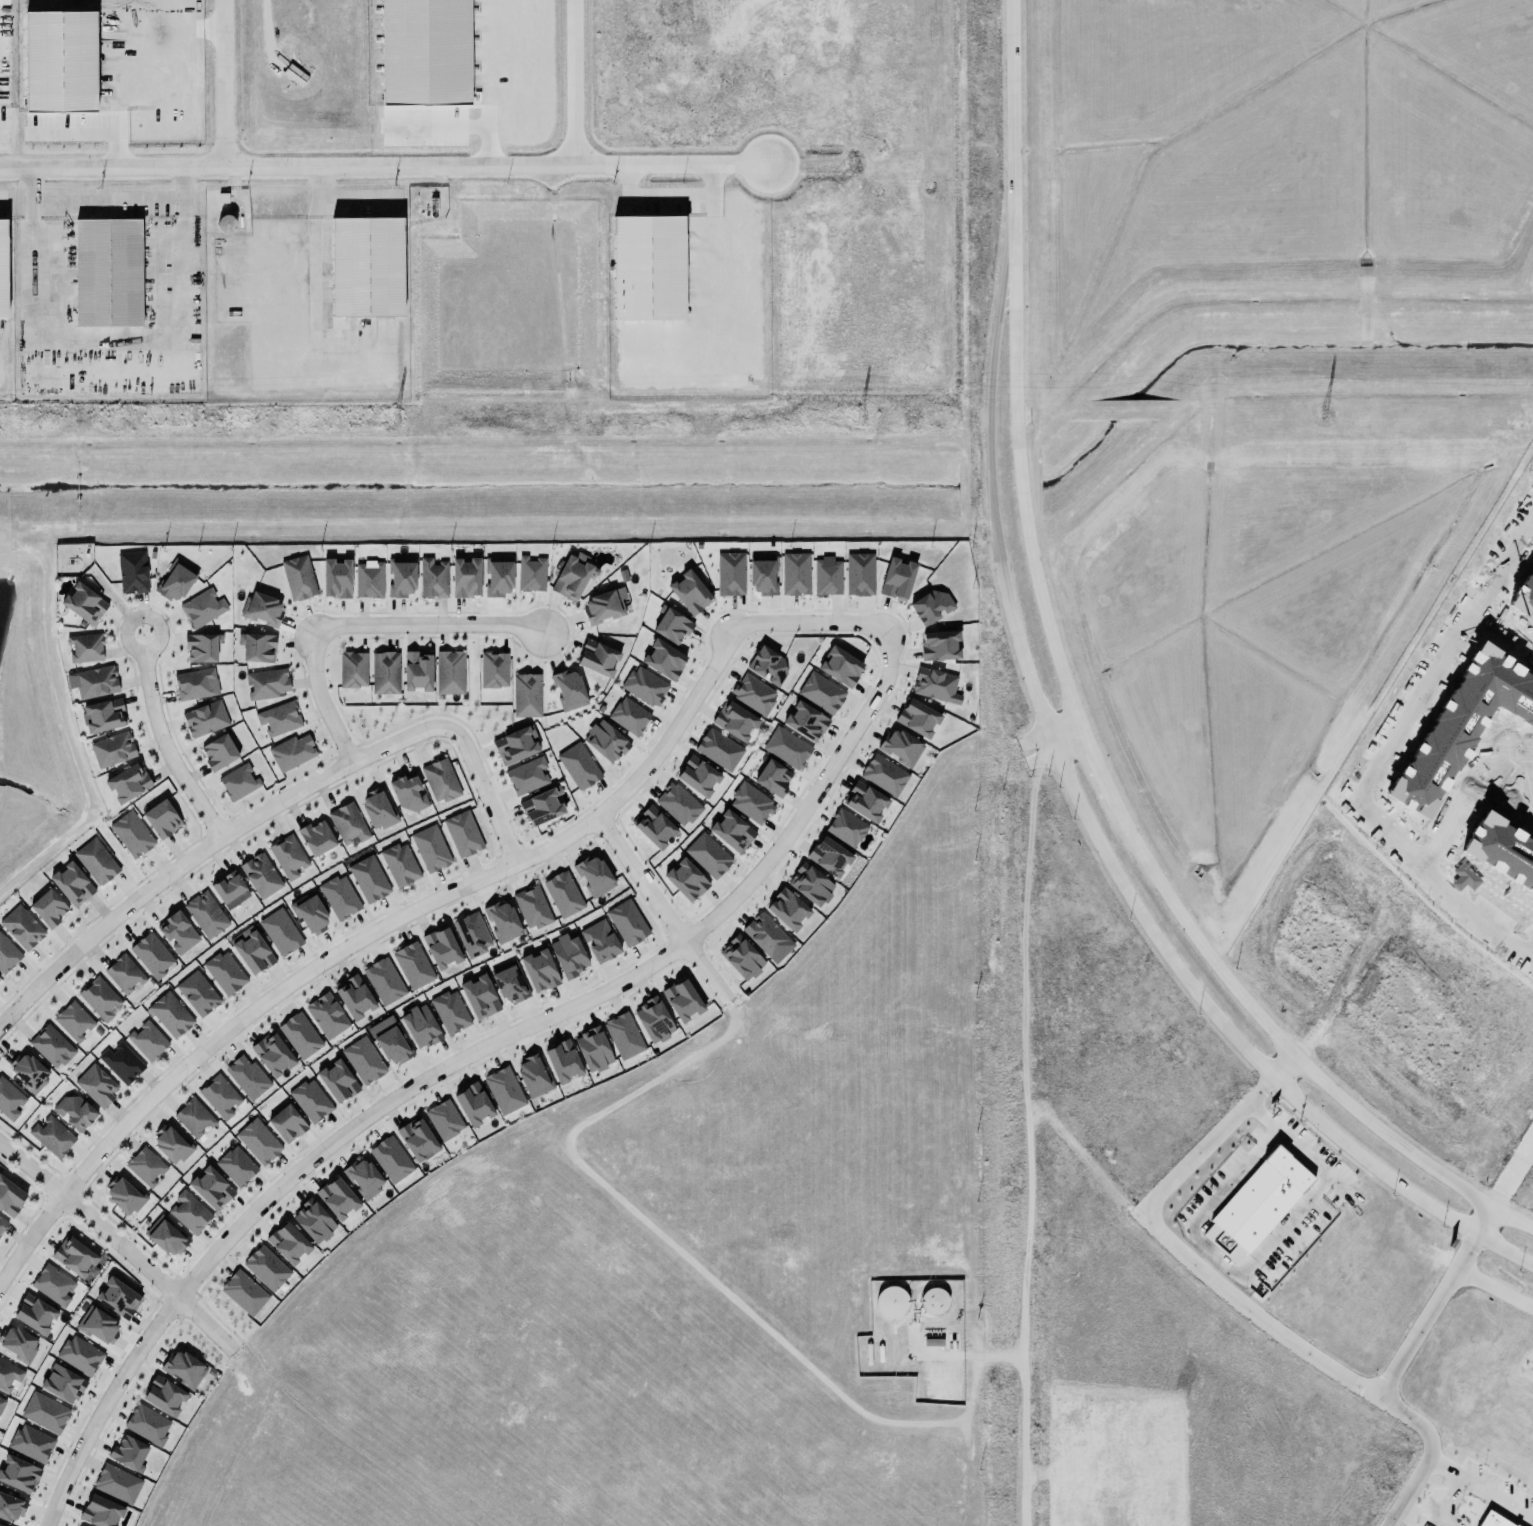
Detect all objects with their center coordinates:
building: (4, 2)
building: (426, 49)
building: (61, 54)
road: (107, 68)
road: (576, 82)
road: (216, 83)
road: (1011, 99)
road: (455, 125)
road: (1, 127)
road: (83, 132)
road: (346, 165)
road: (313, 248)
building: (3, 260)
building: (648, 260)
building: (365, 265)
building: (108, 273)
power tower: (1322, 416)
power tower: (857, 417)
power tower: (393, 420)
building: (130, 570)
building: (858, 571)
building: (529, 573)
building: (728, 573)
building: (795, 574)
building: (496, 575)
building: (897, 575)
building: (399, 576)
building: (572, 576)
building: (297, 577)
building: (335, 577)
building: (432, 577)
building: (464, 577)
building: (762, 577)
building: (827, 578)
building: (174, 579)
building: (369, 579)
building: (688, 591)
building: (82, 603)
building: (930, 603)
building: (603, 605)
building: (200, 607)
building: (260, 608)
road: (815, 623)
building: (670, 624)
road: (355, 625)
building: (939, 645)
building: (83, 646)
building: (200, 646)
building: (257, 647)
building: (595, 657)
building: (661, 658)
building: (766, 664)
building: (840, 666)
building: (351, 668)
building: (492, 669)
building: (417, 671)
building: (448, 671)
building: (383, 672)
building: (91, 681)
building: (196, 684)
building: (266, 684)
building: (643, 685)
building: (936, 685)
building: (567, 689)
building: (821, 692)
building: (753, 693)
building: (525, 694)
building: (101, 714)
building: (627, 715)
building: (203, 717)
building: (277, 717)
building: (734, 718)
building: (918, 718)
building: (805, 721)
road: (1065, 735)
building: (603, 740)
road: (162, 742)
building: (516, 745)
building: (900, 747)
building: (110, 748)
building: (787, 748)
building: (719, 749)
building: (217, 751)
building: (290, 751)
building: (577, 765)
building: (884, 773)
building: (695, 774)
building: (772, 775)
building: (1424, 775)
building: (527, 776)
road: (1367, 777)
building: (439, 779)
building: (237, 781)
building: (126, 782)
building: (406, 792)
road: (1111, 796)
building: (866, 799)
building: (677, 802)
building: (751, 803)
road: (270, 806)
building: (539, 806)
building: (377, 809)
building: (161, 819)
road: (1086, 821)
building: (346, 823)
building: (652, 825)
building: (846, 826)
building: (732, 831)
building: (461, 833)
building: (132, 834)
building: (312, 836)
building: (430, 848)
building: (708, 855)
building: (288, 857)
building: (829, 857)
building: (96, 861)
building: (400, 864)
building: (261, 875)
building: (592, 875)
building: (685, 876)
building: (368, 878)
building: (72, 884)
building: (810, 884)
building: (226, 886)
building: (561, 893)
building: (337, 896)
building: (530, 906)
building: (43, 907)
road: (661, 907)
building: (787, 909)
building: (204, 913)
building: (308, 913)
building: (502, 921)
building: (627, 923)
building: (18, 927)
building: (176, 931)
building: (279, 931)
building: (470, 933)
road: (362, 937)
building: (767, 937)
building: (598, 940)
building: (441, 948)
building: (251, 951)
building: (6, 954)
building: (149, 954)
building: (569, 955)
building: (741, 958)
building: (412, 964)
building: (540, 971)
building: (223, 972)
building: (122, 973)
building: (384, 981)
building: (509, 983)
building: (198, 993)
building: (479, 996)
building: (98, 997)
building: (353, 997)
building: (682, 1000)
building: (448, 1011)
building: (170, 1015)
building: (325, 1015)
building: (72, 1020)
building: (653, 1020)
building: (419, 1026)
building: (298, 1035)
building: (624, 1036)
building: (145, 1040)
building: (391, 1044)
building: (50, 1045)
building: (592, 1049)
building: (270, 1054)
road: (461, 1055)
building: (364, 1060)
building: (561, 1060)
building: (120, 1062)
road: (1284, 1068)
building: (27, 1072)
building: (533, 1076)
building: (246, 1077)
building: (337, 1081)
building: (95, 1085)
building: (504, 1090)
building: (220, 1097)
building: (10, 1099)
building: (311, 1100)
building: (472, 1103)
building: (73, 1111)
building: (192, 1117)
building: (444, 1119)
building: (287, 1124)
building: (52, 1136)
building: (417, 1139)
building: (257, 1140)
building: (171, 1145)
building: (389, 1159)
building: (234, 1165)
building: (144, 1166)
road: (1513, 1175)
building: (363, 1178)
building: (210, 1188)
building: (123, 1195)
building: (9, 1197)
building: (336, 1198)
building: (1256, 1205)
building: (189, 1213)
building: (313, 1222)
road: (1485, 1222)
building: (2, 1223)
building: (162, 1236)
road: (117, 1242)
building: (288, 1243)
road: (1183, 1254)
building: (72, 1256)
road: (1252, 1262)
building: (265, 1268)
building: (53, 1285)
road: (1495, 1287)
building: (244, 1292)
building: (115, 1300)
building: (891, 1302)
building: (33, 1314)
building: (94, 1325)
building: (14, 1339)
building: (79, 1357)
building: (179, 1366)
building: (8, 1374)
building: (59, 1384)
road: (1380, 1386)
building: (161, 1394)
building: (1, 1402)
building: (44, 1414)
building: (145, 1422)
building: (29, 1444)
building: (127, 1453)
road: (1447, 1465)
building: (15, 1475)
building: (113, 1483)
road: (1447, 1500)
road: (1499, 1500)
building: (9, 1506)
building: (98, 1512)
building: (1492, 1520)
building: (1, 1525)
building: (78, 1525)

